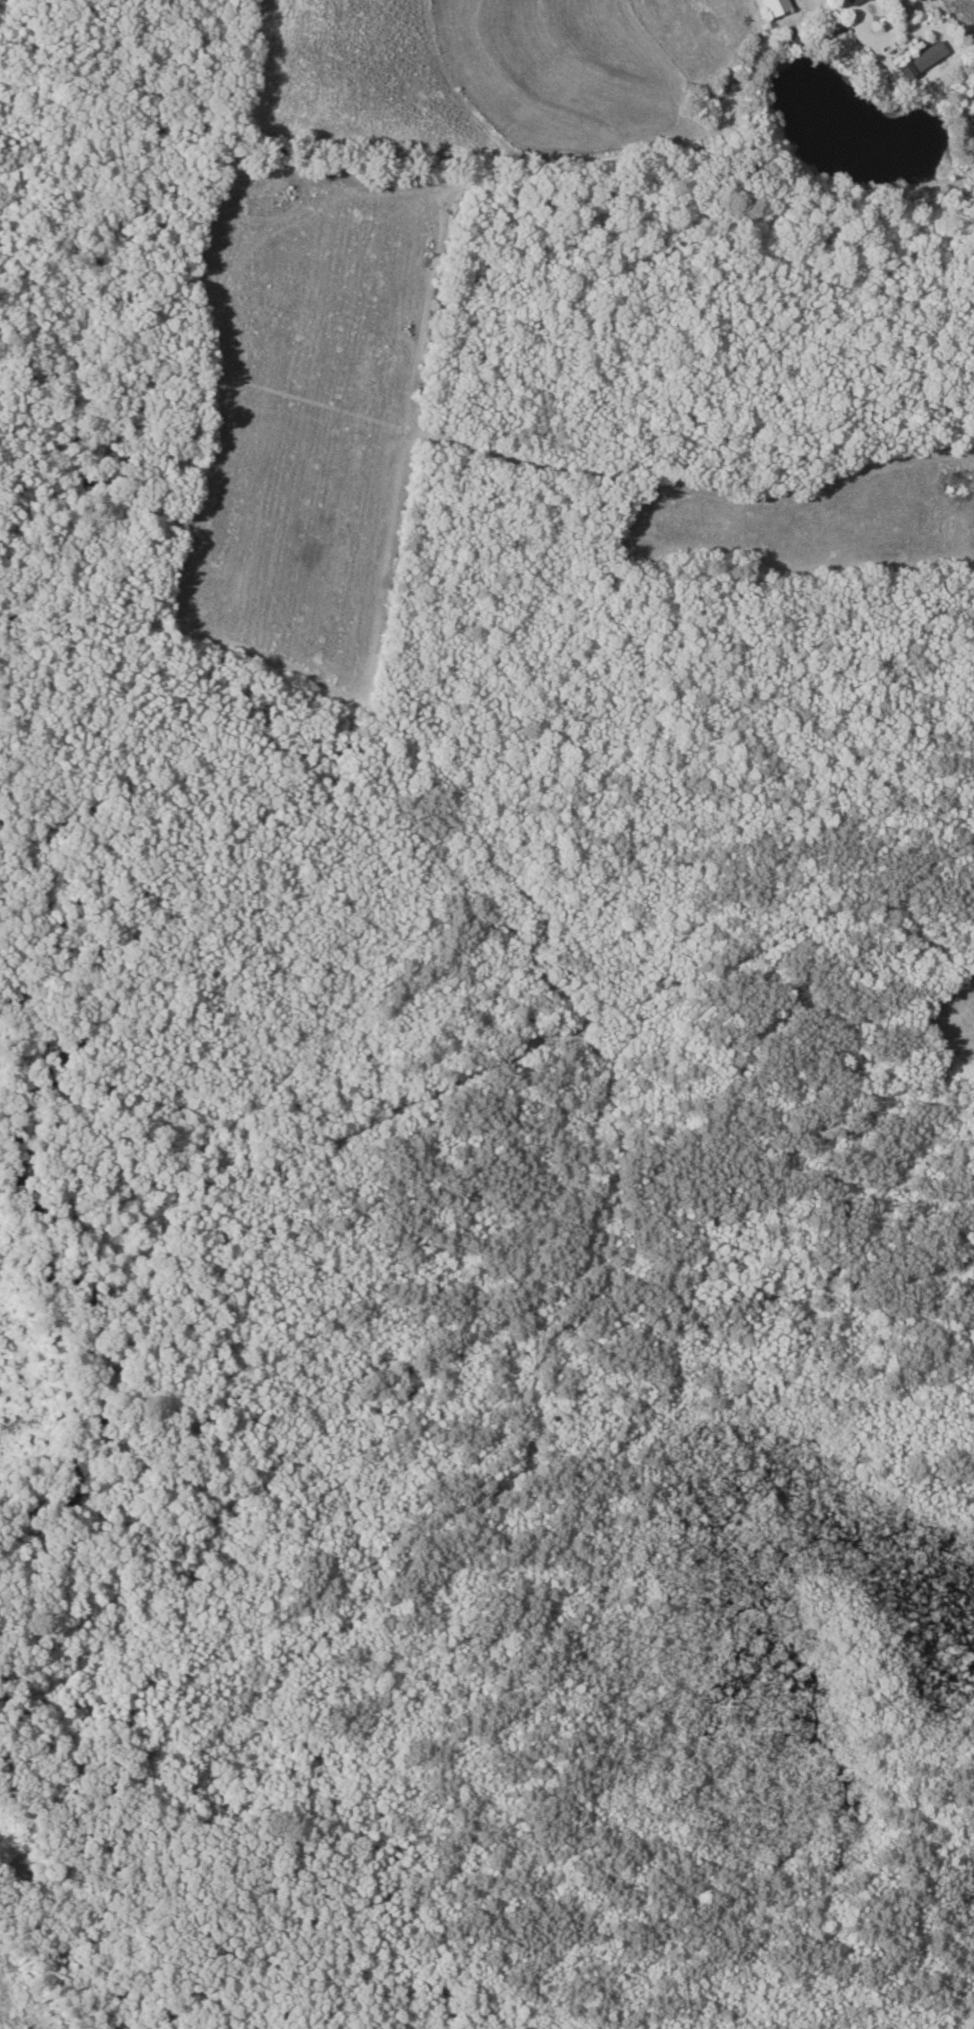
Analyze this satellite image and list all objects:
building: (864, 1)
building: (768, 6)
building: (917, 59)
building: (714, 90)

